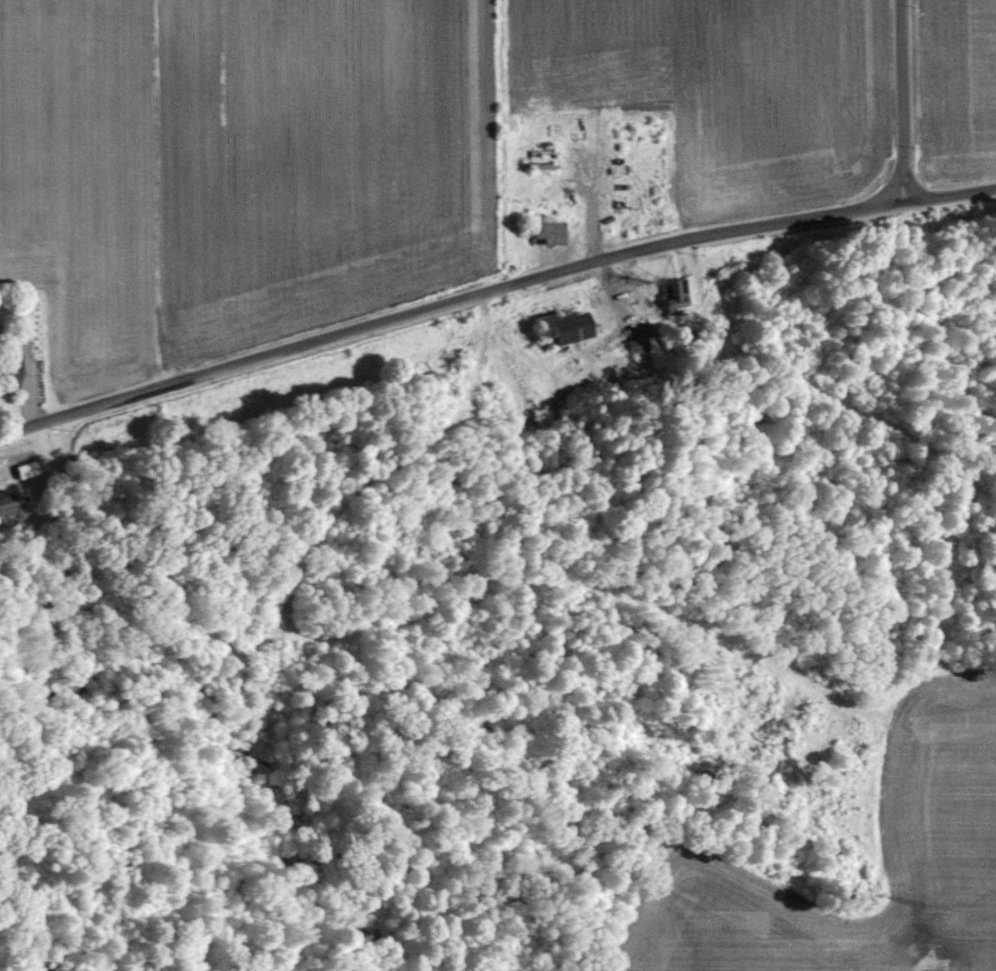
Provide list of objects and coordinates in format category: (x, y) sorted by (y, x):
road: (894, 101)
building: (547, 232)
road: (493, 286)
building: (673, 292)
road: (616, 303)
building: (565, 327)
building: (637, 344)
road: (21, 389)
building: (27, 469)
building: (5, 502)
building: (0, 534)

